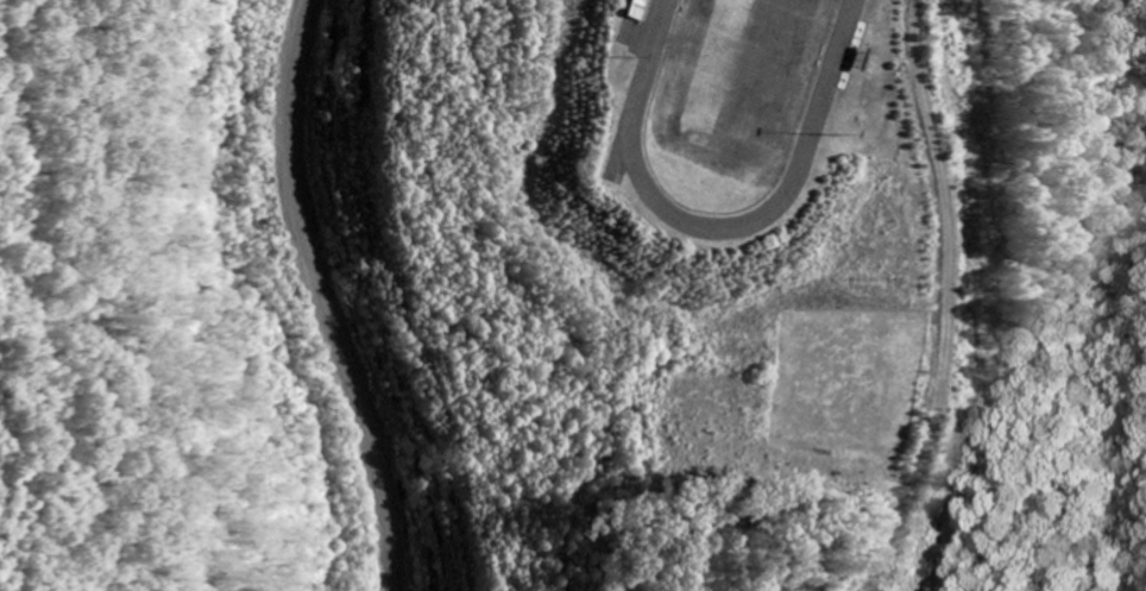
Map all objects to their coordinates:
park: (737, 76)
track: (728, 101)
road: (322, 297)
road: (943, 297)

